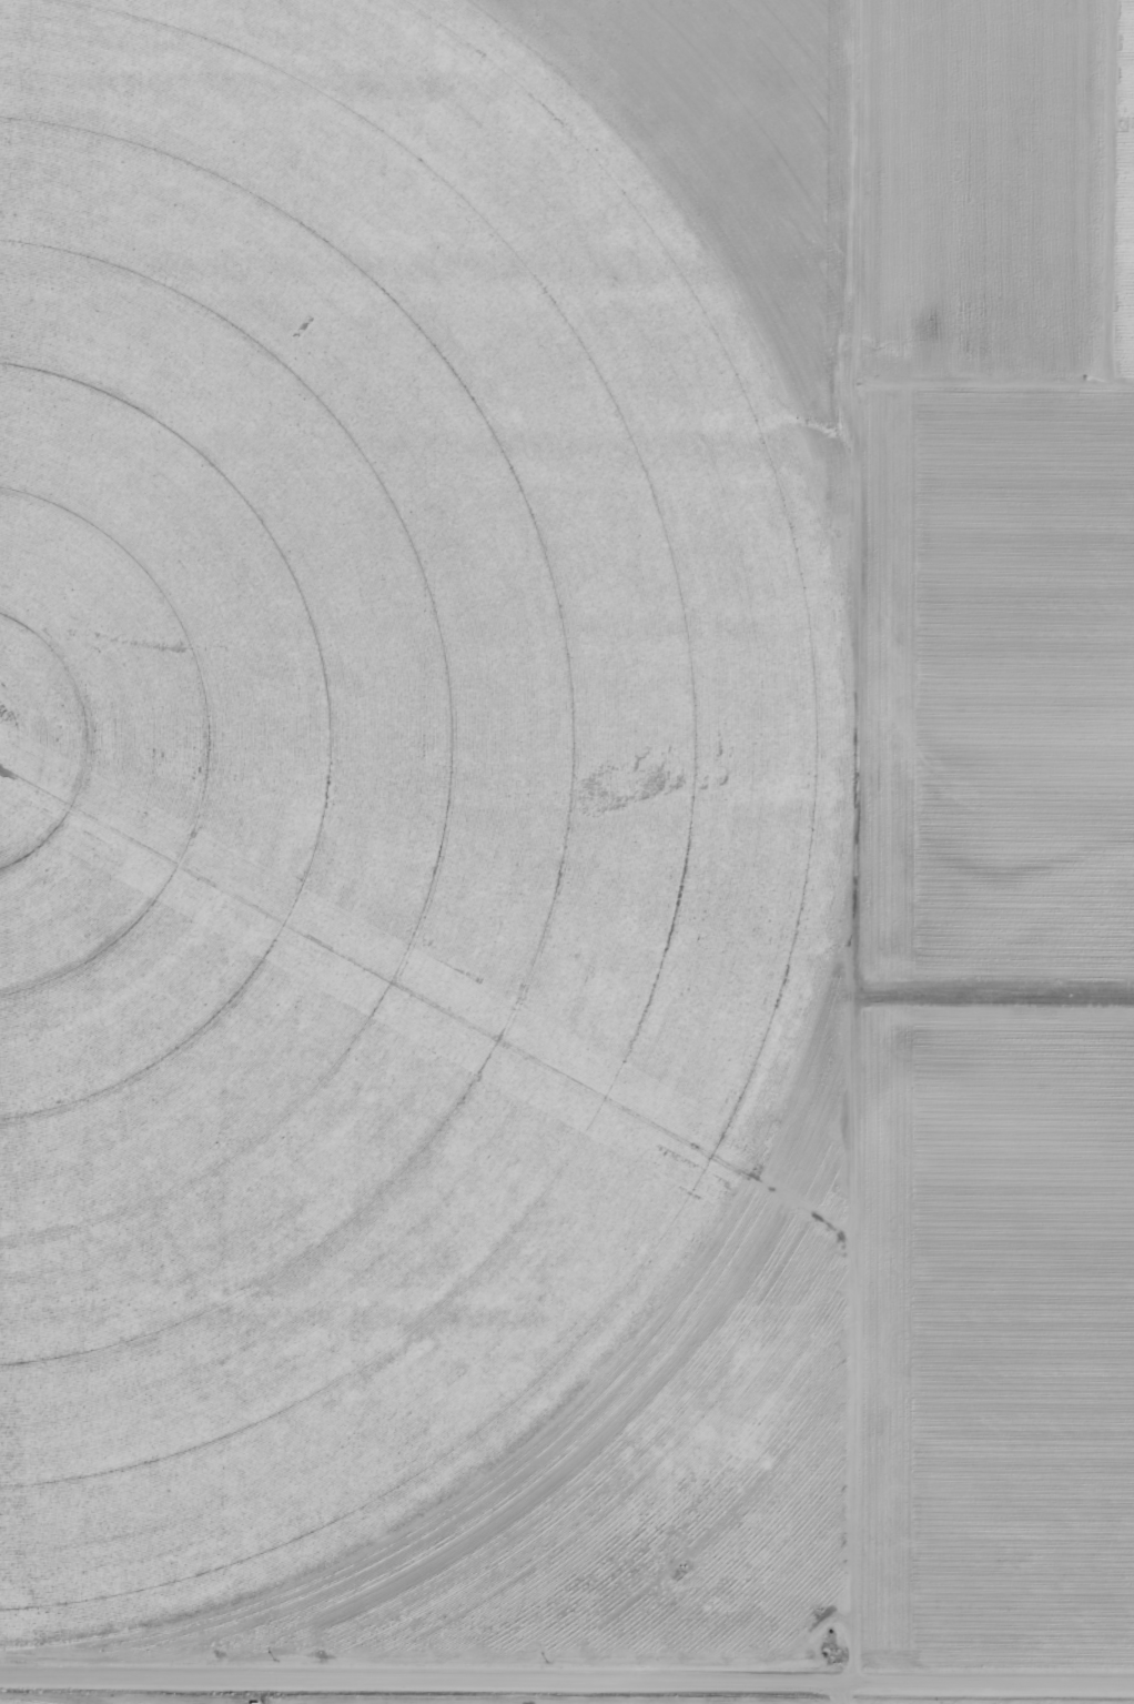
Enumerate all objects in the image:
road: (566, 1688)
road: (846, 1698)

